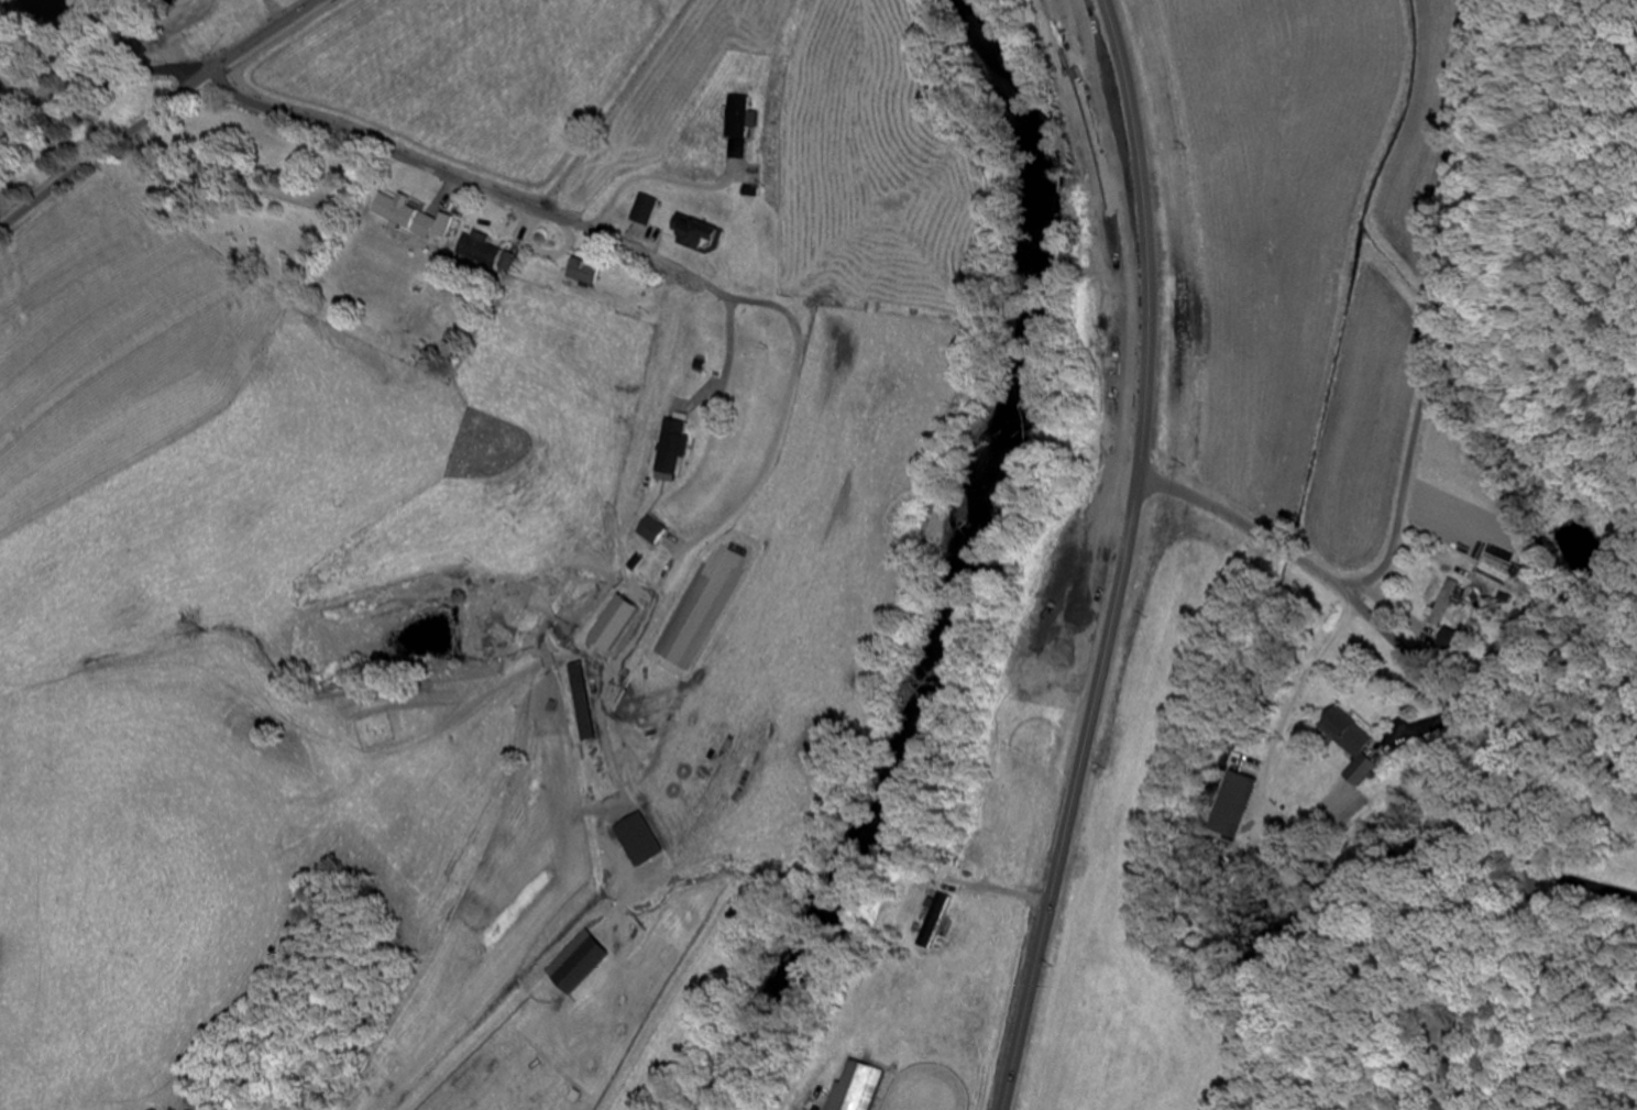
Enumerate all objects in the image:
river: (76, 4)
road: (156, 111)
building: (737, 118)
road: (403, 161)
building: (642, 211)
building: (410, 217)
building: (691, 233)
building: (486, 254)
building: (733, 264)
road: (1430, 309)
building: (674, 449)
road: (1248, 529)
road: (1123, 558)
river: (947, 571)
building: (1443, 603)
building: (615, 630)
building: (580, 703)
road: (1450, 712)
park: (377, 728)
building: (1345, 739)
building: (1228, 805)
building: (639, 842)
road: (1535, 913)
building: (932, 922)
building: (579, 968)
building: (853, 1087)

